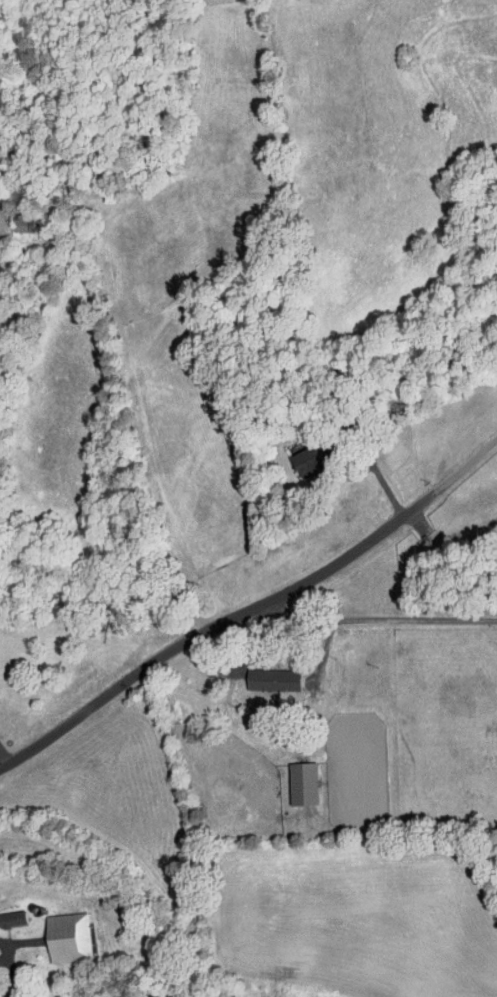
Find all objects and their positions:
building: (25, 224)
building: (309, 459)
road: (381, 477)
road: (253, 613)
road: (381, 617)
road: (243, 645)
building: (274, 679)
road: (5, 758)
building: (305, 783)
building: (13, 917)
building: (69, 936)
road: (4, 949)

